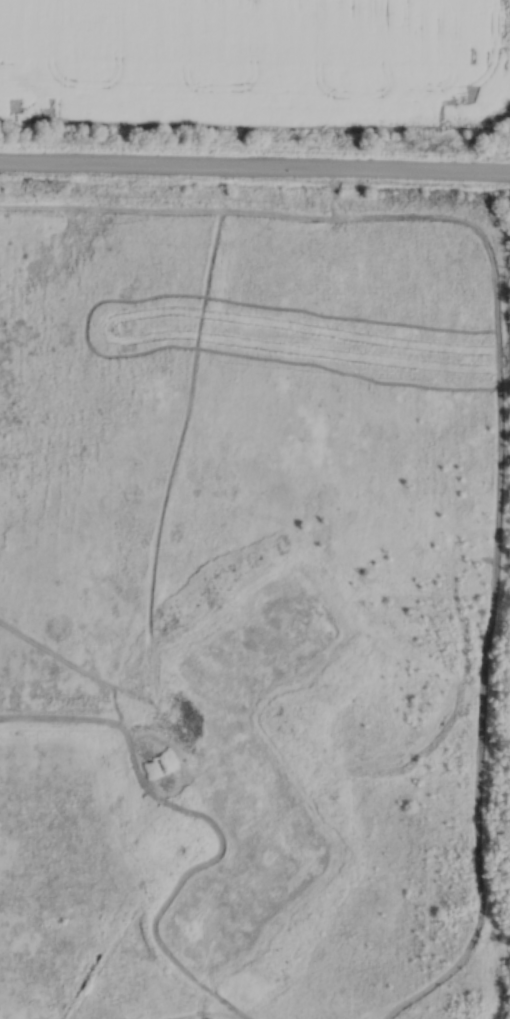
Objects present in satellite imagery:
road: (255, 168)

